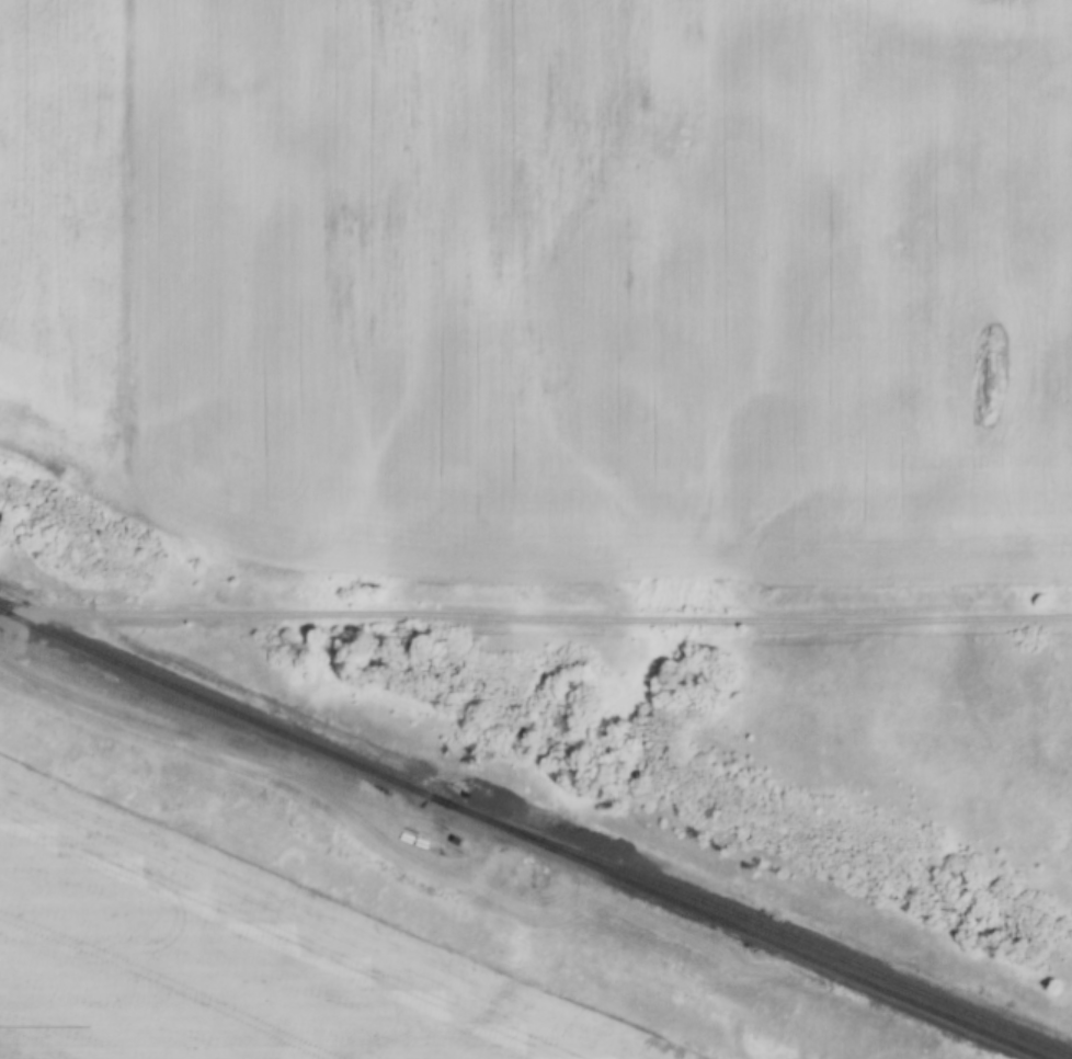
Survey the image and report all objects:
road: (535, 617)
railway: (521, 835)
railway: (754, 923)

